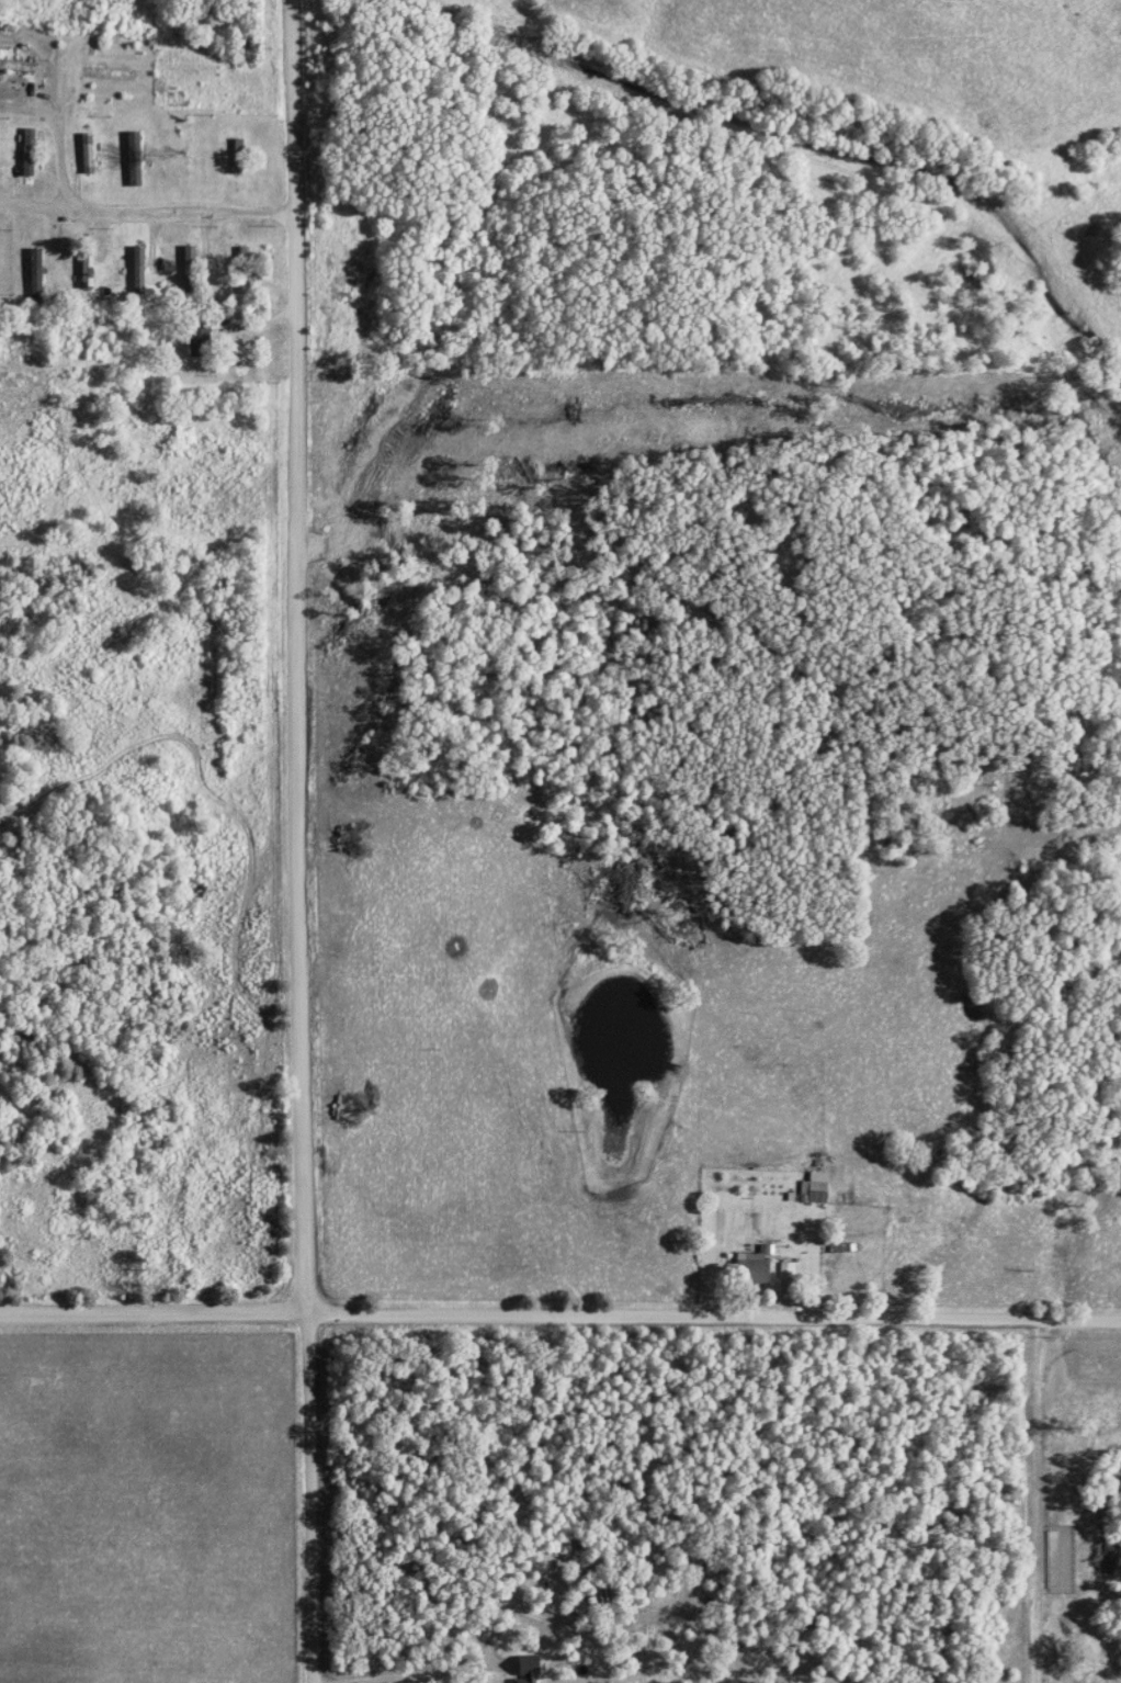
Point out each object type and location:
road: (26, 112)
building: (87, 155)
road: (61, 169)
road: (149, 214)
road: (298, 654)
road: (559, 1318)
road: (312, 1498)
building: (528, 1670)

